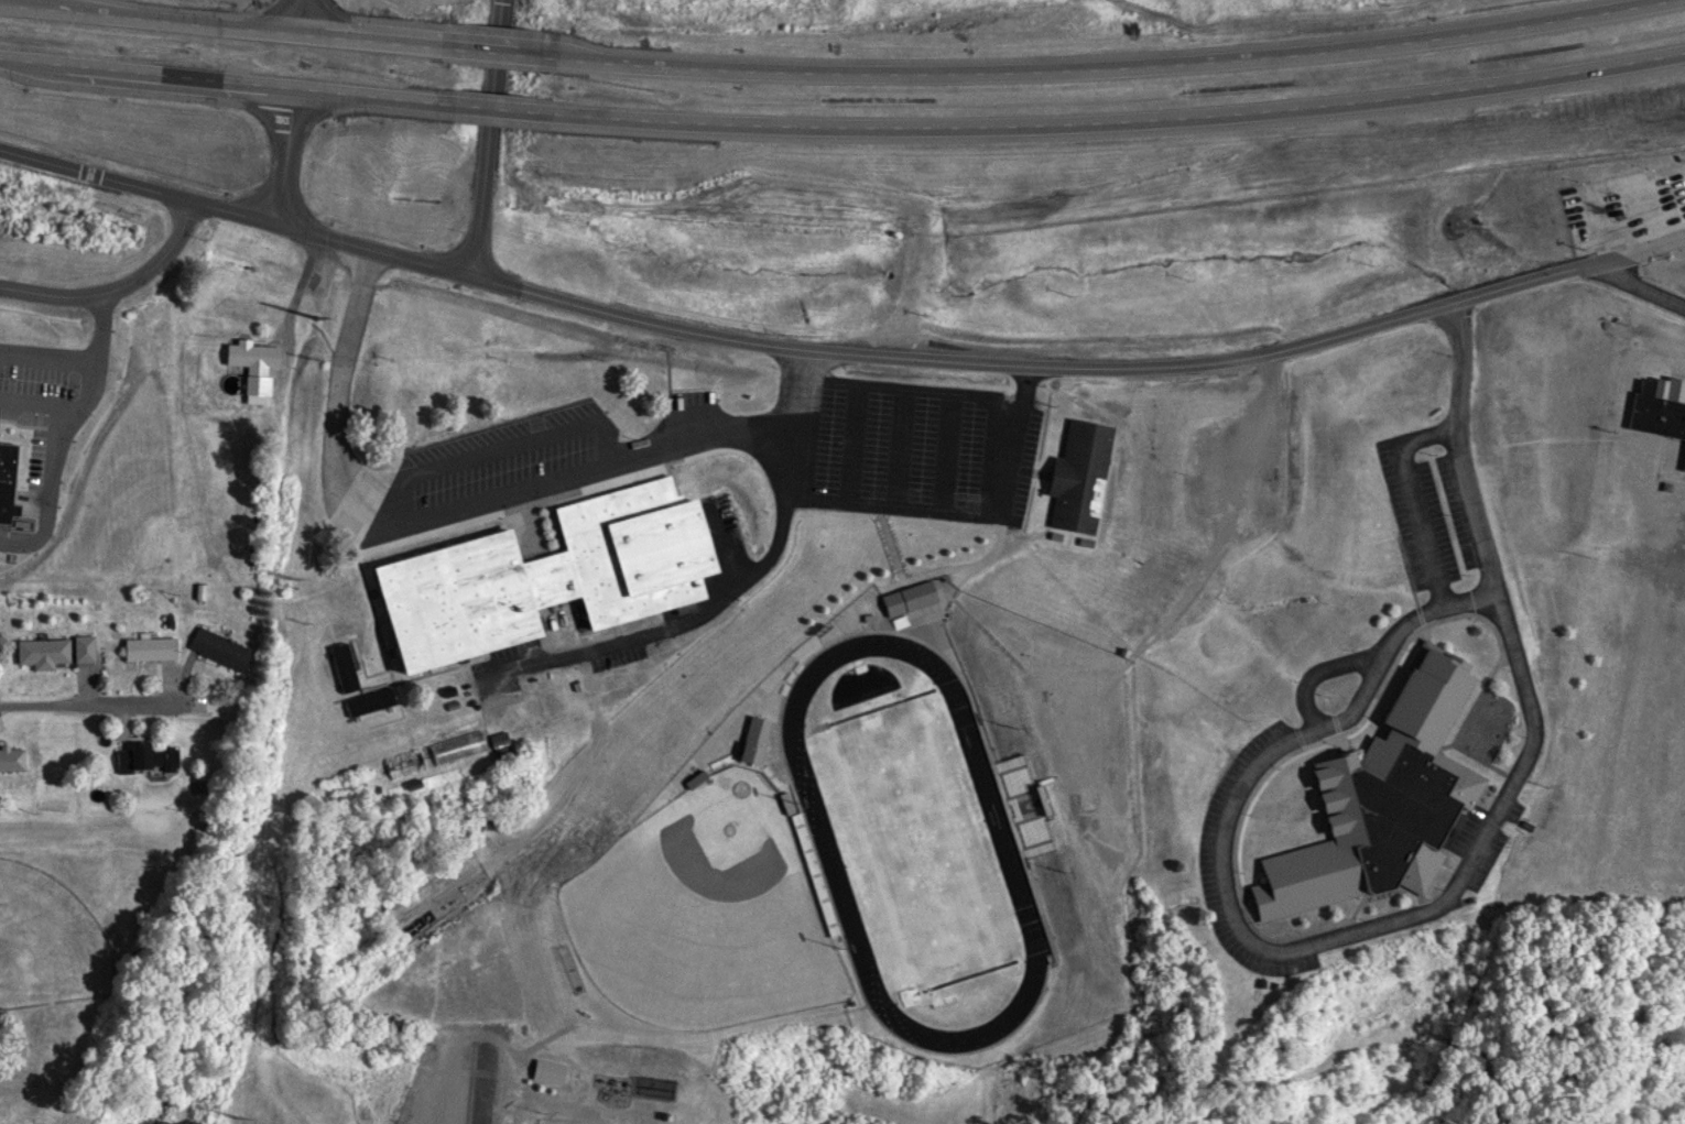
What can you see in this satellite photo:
road: (307, 14)
road: (237, 22)
road: (518, 52)
road: (1130, 66)
road: (232, 88)
road: (511, 108)
road: (1122, 121)
road: (488, 139)
road: (284, 159)
road: (237, 212)
road: (113, 283)
road: (46, 352)
building: (251, 356)
power tower: (304, 356)
road: (1085, 363)
building: (254, 389)
building: (1659, 406)
road: (34, 408)
road: (62, 427)
parking lot: (905, 451)
parking lot: (503, 465)
building: (1684, 465)
building: (1077, 474)
road: (446, 506)
building: (543, 575)
road: (735, 594)
building: (907, 596)
building: (148, 646)
building: (217, 646)
building: (53, 650)
building: (343, 666)
building: (369, 700)
road: (90, 702)
building: (751, 727)
building: (498, 738)
building: (456, 746)
building: (144, 755)
building: (11, 757)
building: (403, 763)
building: (1380, 799)
park: (913, 838)
track: (824, 840)
park: (699, 914)
park: (46, 938)
building: (546, 1070)
power tower: (237, 1120)
park: (559, 1121)

